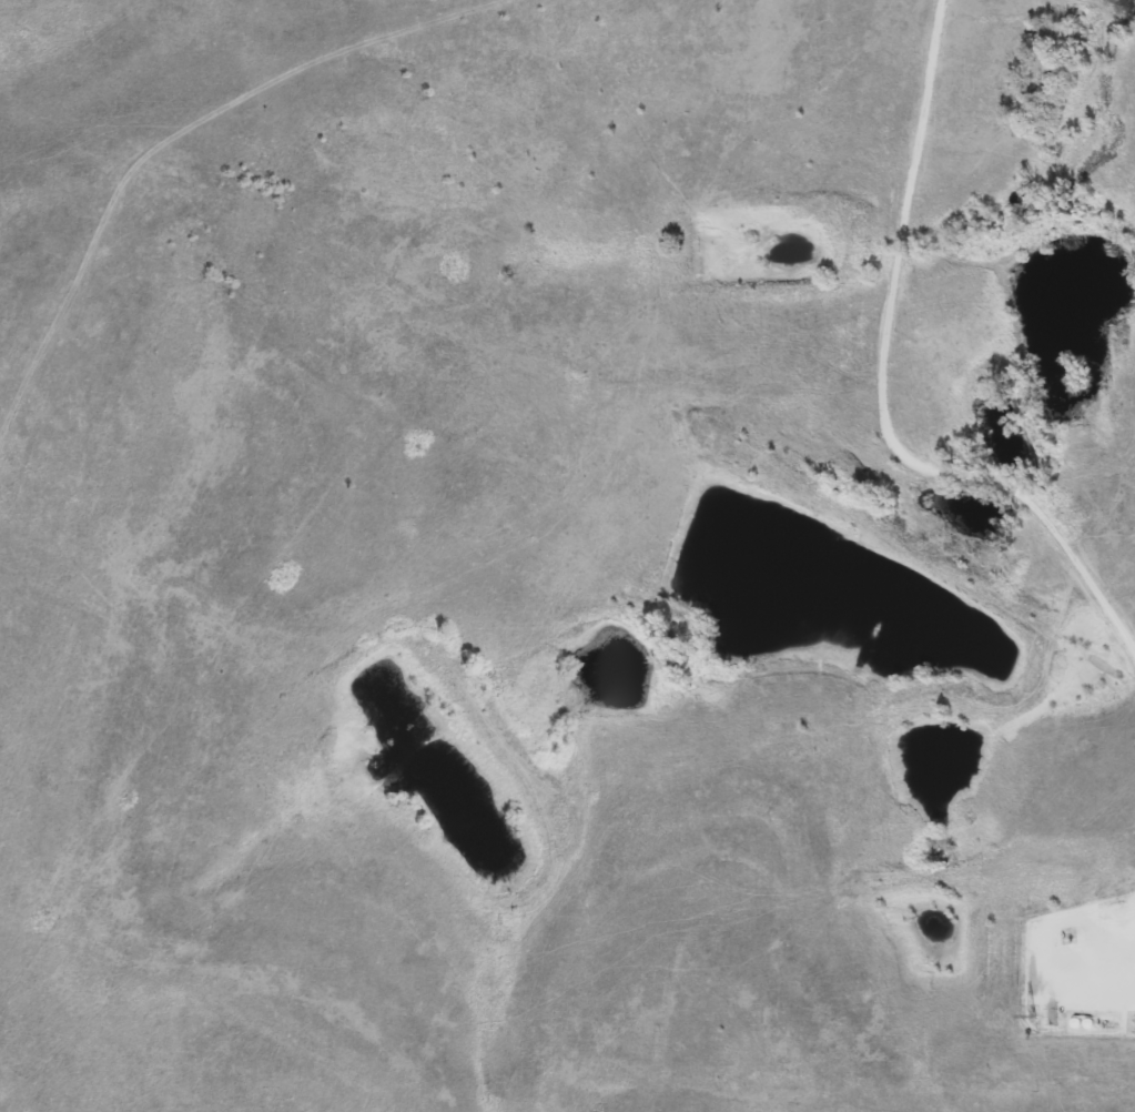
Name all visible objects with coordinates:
road: (882, 384)

